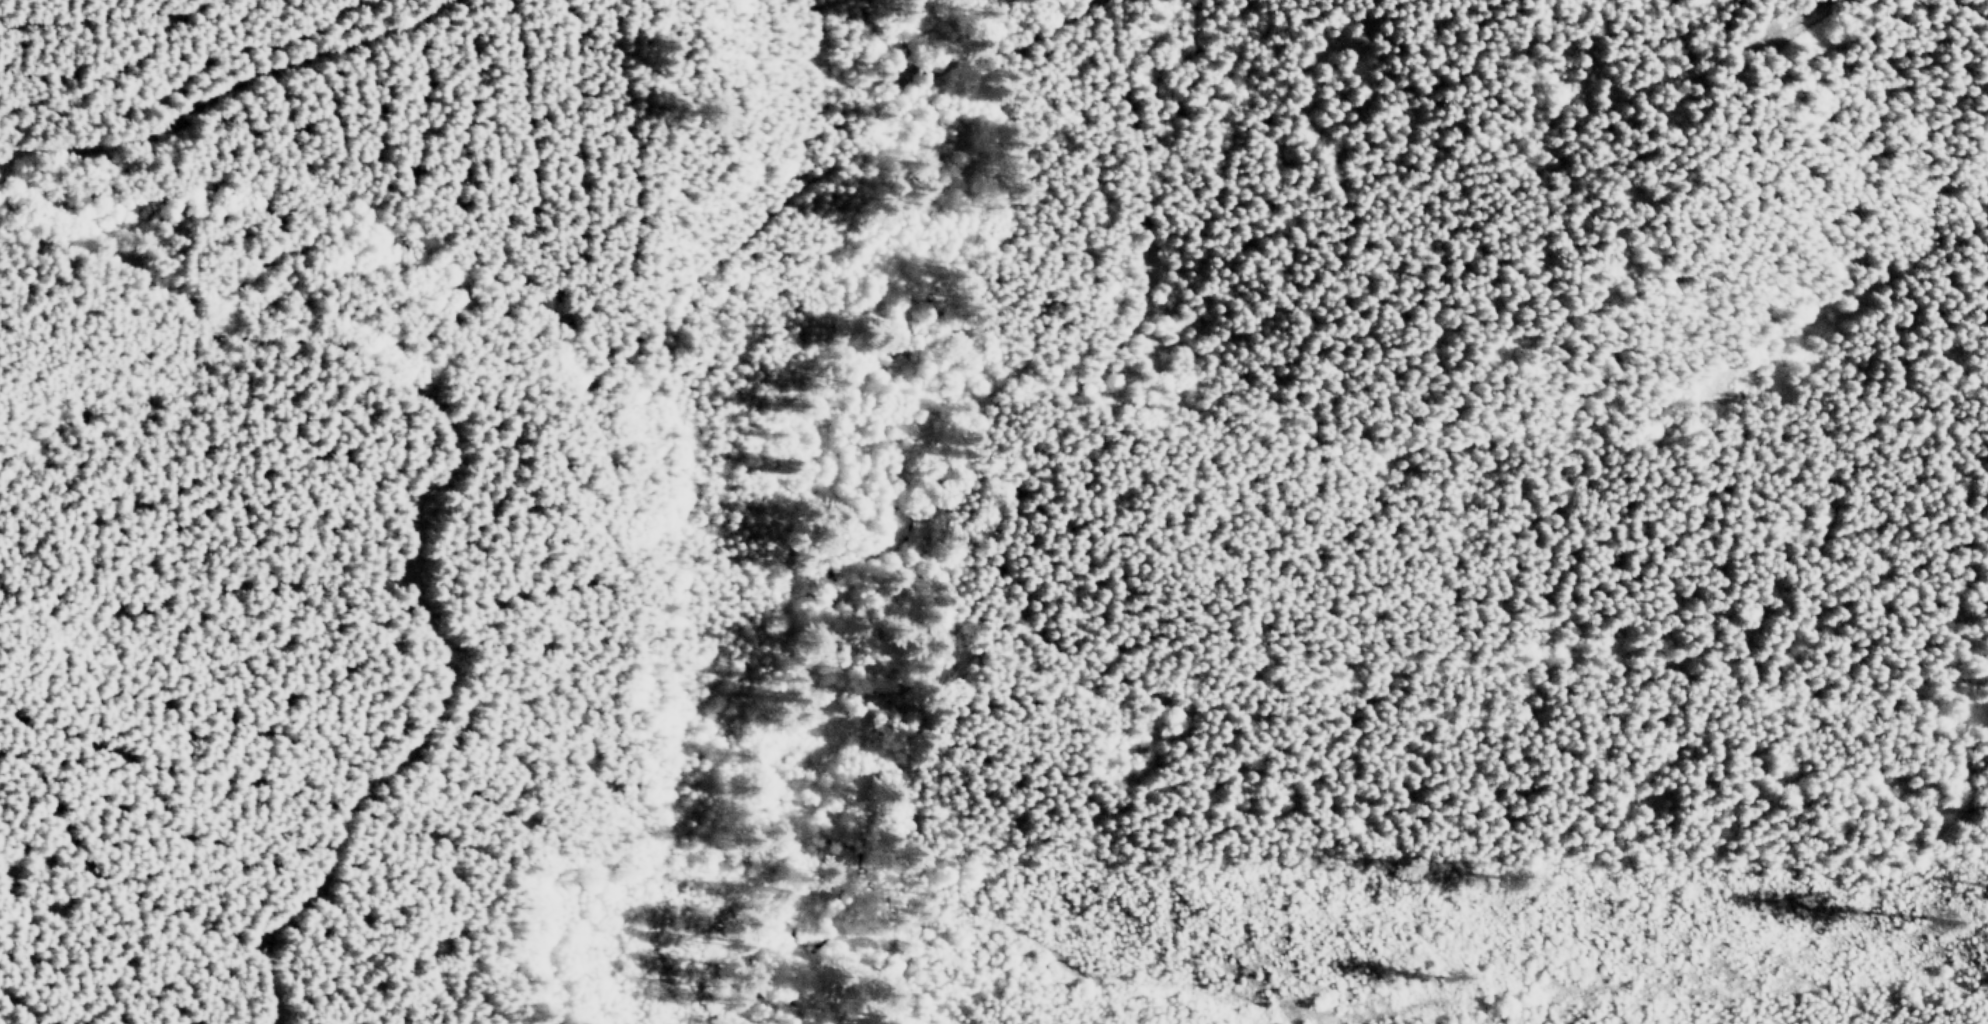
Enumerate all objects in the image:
road: (229, 90)
road: (25, 144)
road: (441, 509)
road: (1074, 510)

